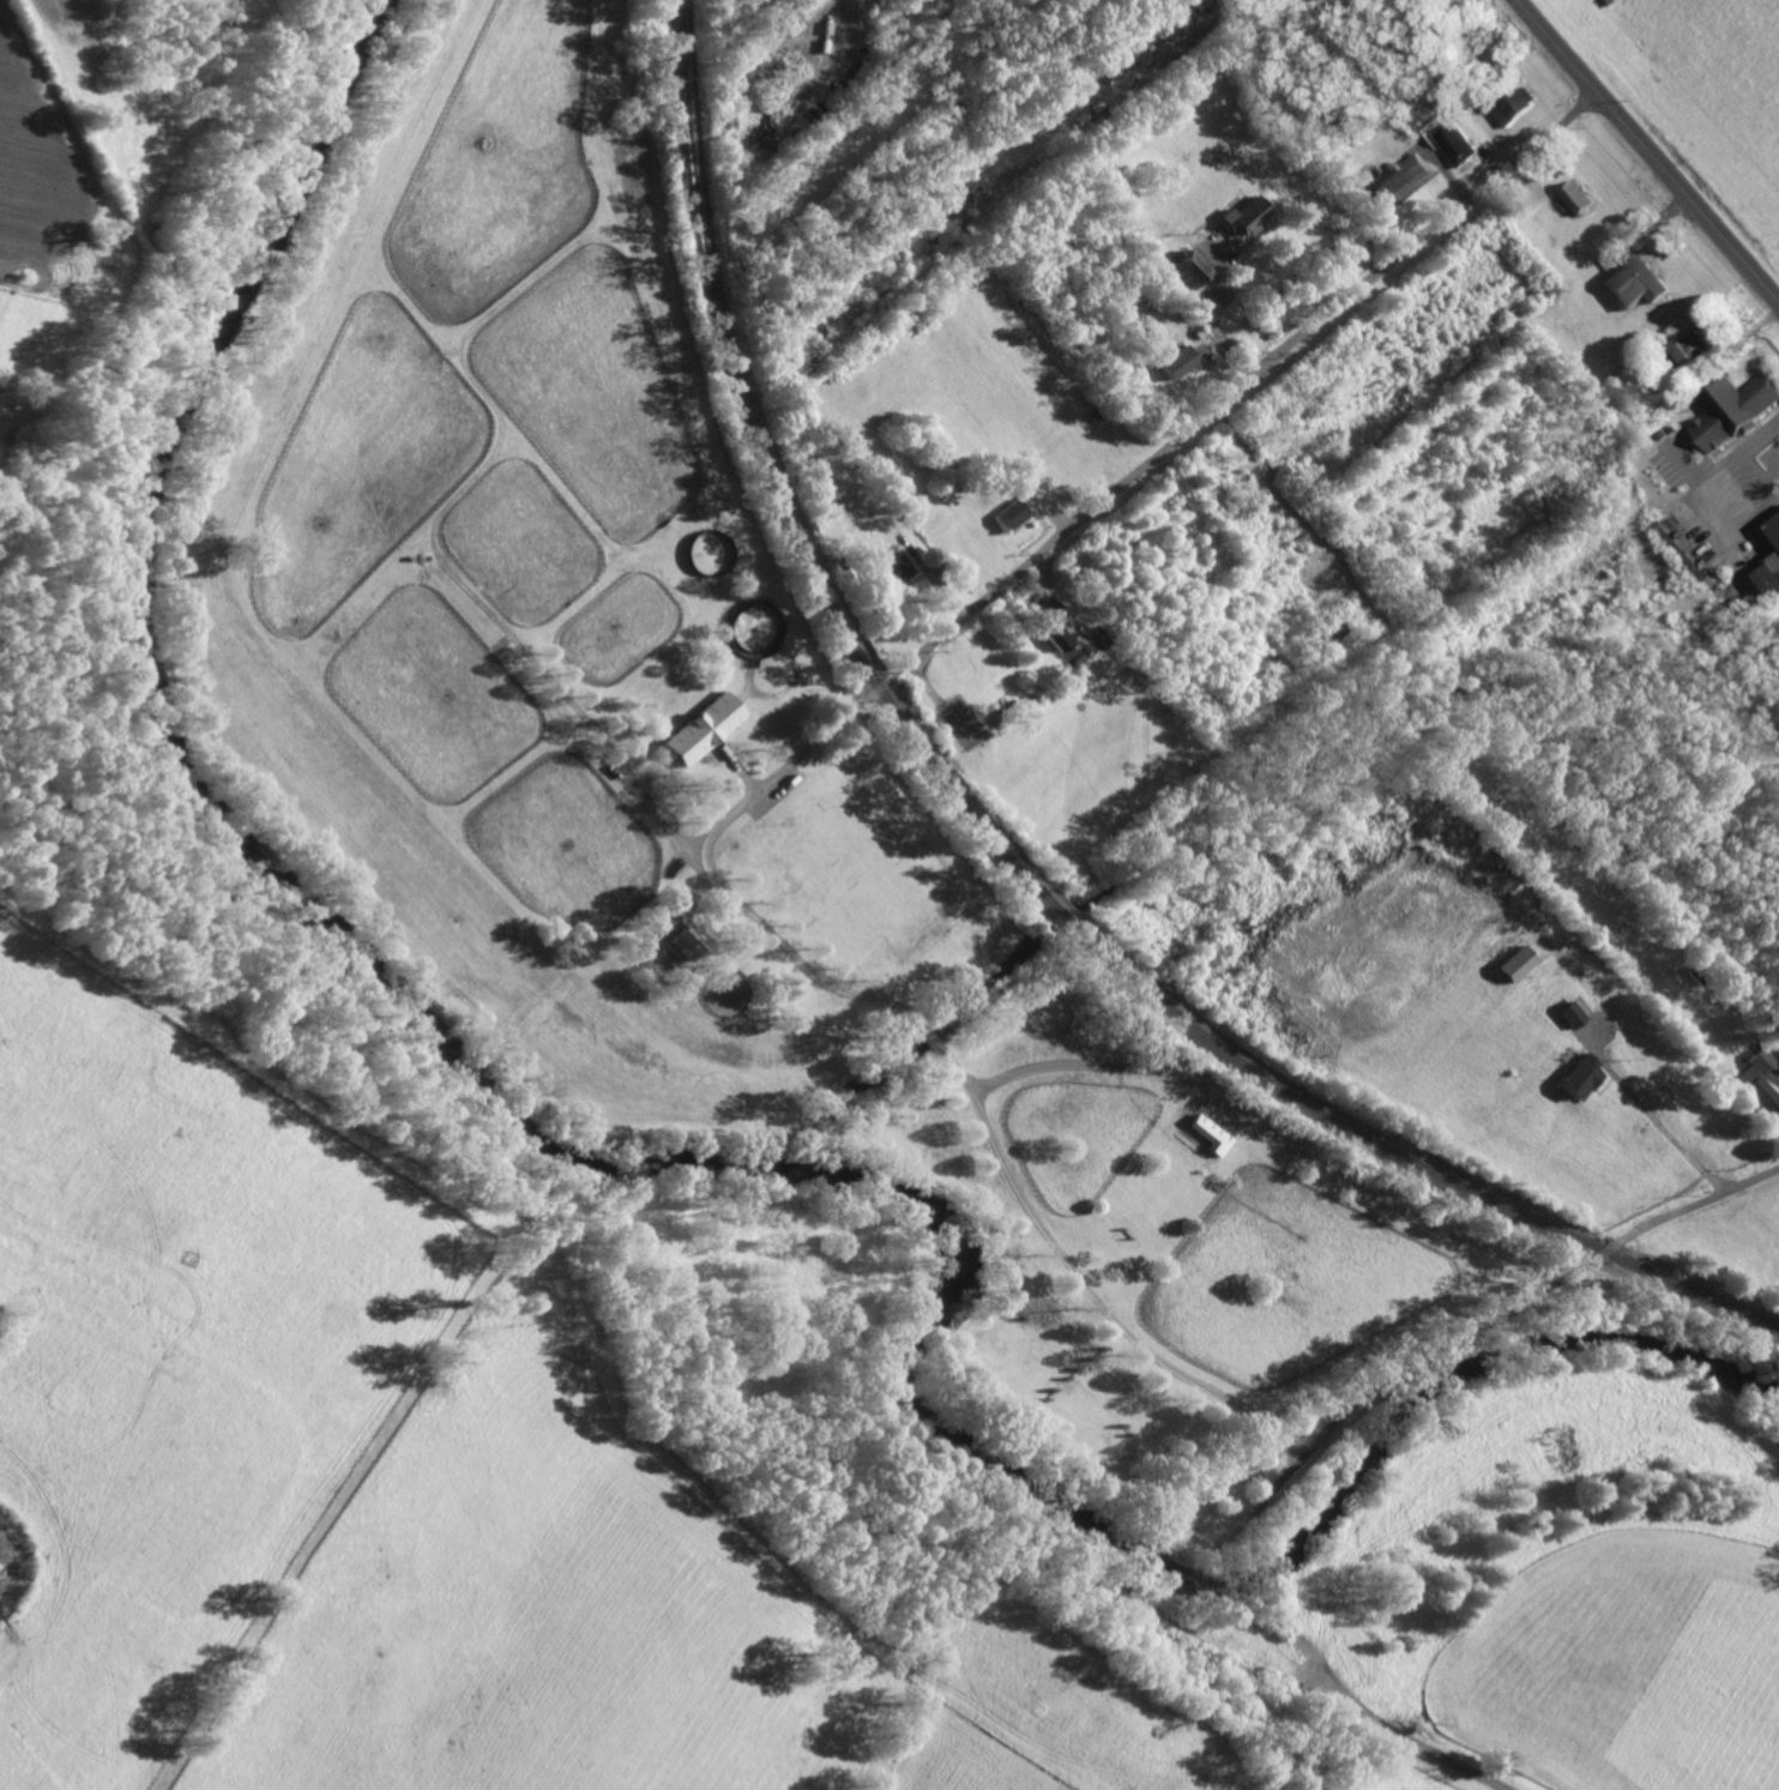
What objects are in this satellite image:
building: (1608, 1)
building: (1013, 4)
building: (789, 5)
building: (1178, 5)
building: (1162, 7)
building: (783, 17)
building: (860, 22)
building: (1147, 28)
building: (1120, 35)
building: (755, 41)
building: (762, 49)
building: (746, 50)
building: (903, 56)
building: (738, 86)
building: (1514, 104)
building: (1455, 143)
road: (1650, 150)
building: (737, 157)
building: (1403, 176)
building: (1578, 195)
building: (1244, 215)
building: (1512, 228)
building: (1187, 267)
building: (1636, 281)
road: (1211, 314)
building: (1150, 333)
building: (1687, 351)
building: (1177, 362)
road: (1253, 376)
building: (1626, 385)
building: (1733, 410)
building: (982, 462)
building: (810, 480)
building: (1011, 513)
building: (1775, 529)
building: (1681, 550)
building: (937, 561)
building: (892, 571)
building: (848, 572)
building: (1772, 579)
building: (1050, 622)
building: (808, 625)
building: (1325, 631)
building: (1105, 638)
building: (1085, 650)
building: (1122, 673)
building: (1144, 677)
building: (1019, 704)
building: (701, 729)
road: (798, 755)
railway: (1000, 846)
building: (689, 939)
road: (792, 948)
building: (1515, 962)
building: (1570, 1013)
road: (924, 1027)
building: (1767, 1062)
building: (1580, 1075)
building: (1772, 1110)
road: (1244, 1121)
building: (1211, 1134)
road: (1670, 1134)
road: (1699, 1204)
road: (1100, 1301)
road: (1425, 1357)

